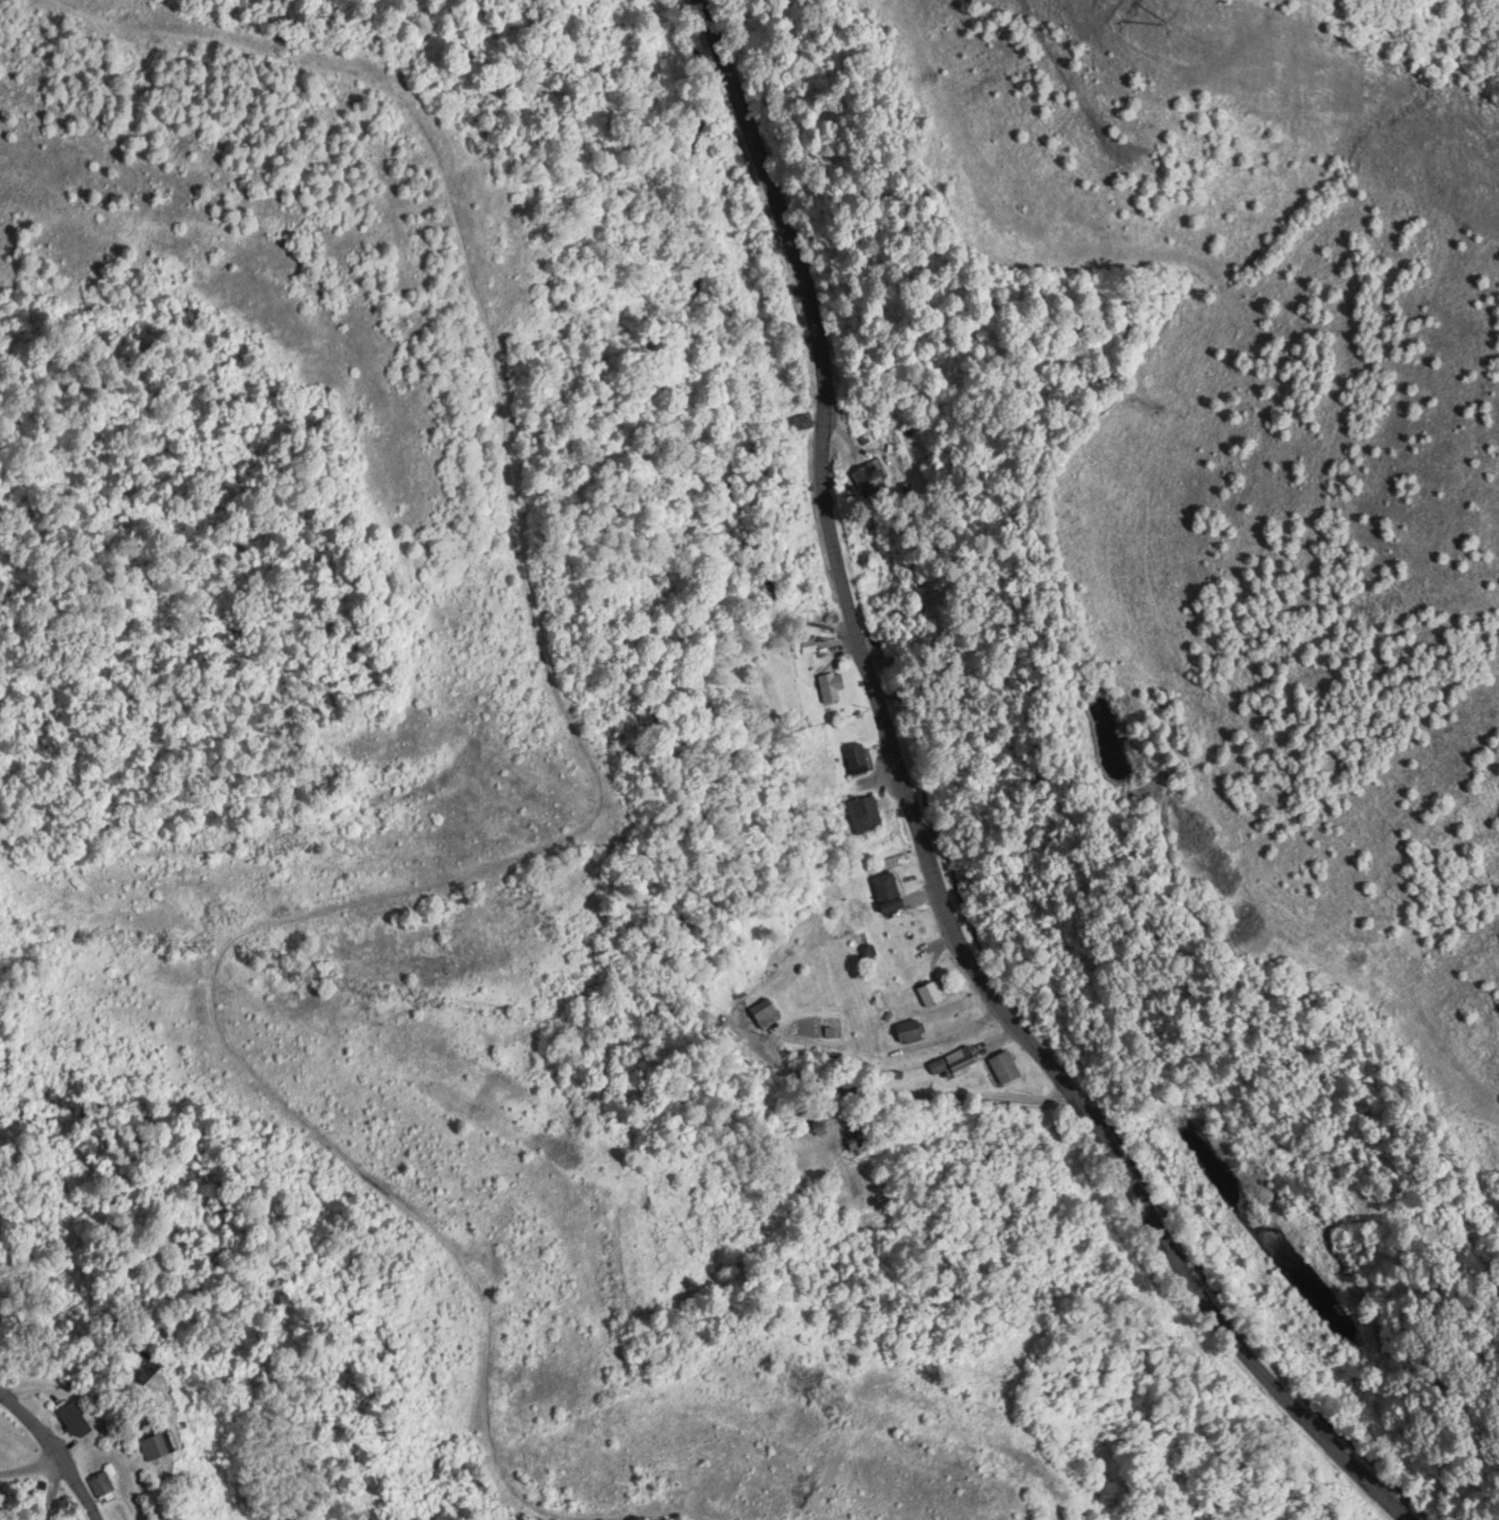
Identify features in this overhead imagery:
power tower: (1162, 1)
building: (800, 419)
building: (870, 472)
building: (810, 644)
building: (837, 694)
building: (859, 755)
building: (866, 811)
road: (920, 825)
building: (890, 889)
building: (907, 925)
building: (933, 990)
building: (866, 1001)
building: (767, 1009)
building: (913, 1027)
building: (953, 1061)
building: (1009, 1069)
building: (855, 1140)
building: (142, 1366)
building: (76, 1415)
building: (159, 1443)
road: (33, 1475)
building: (103, 1482)

